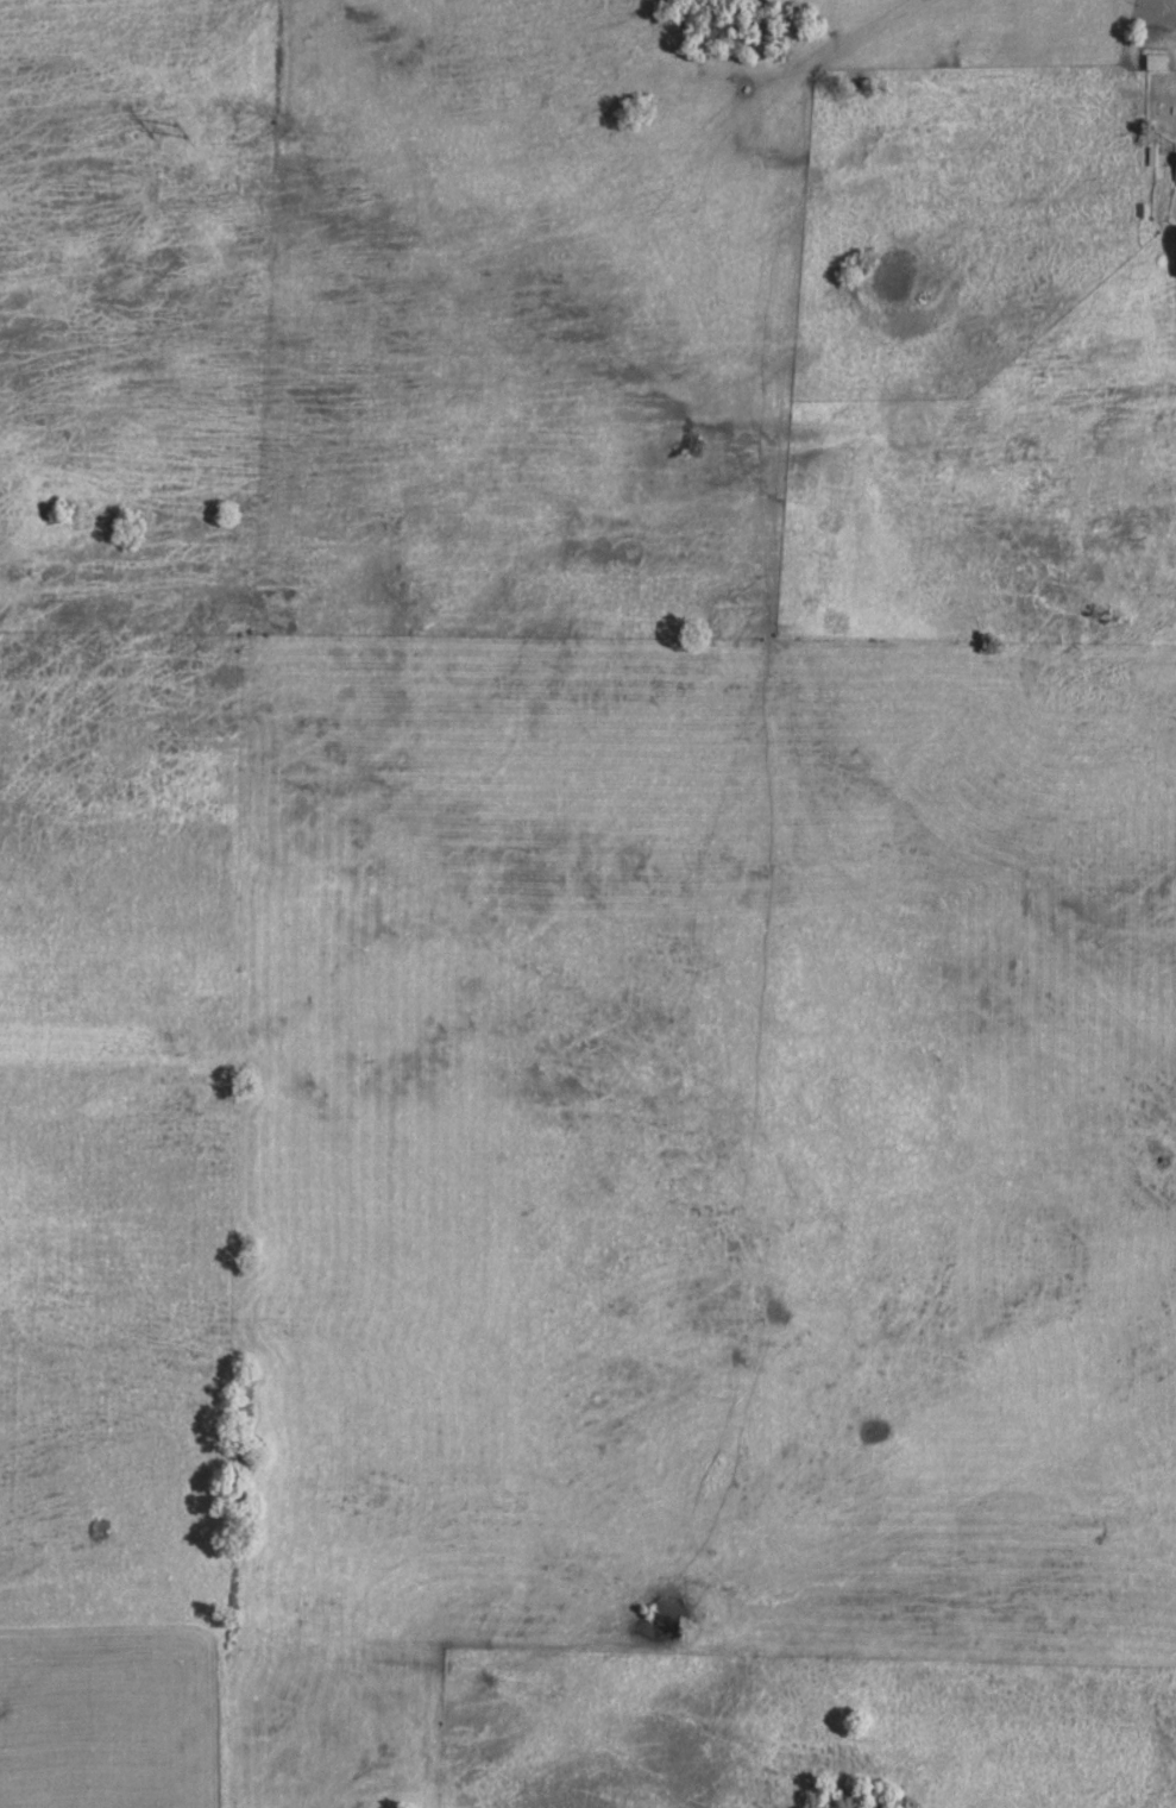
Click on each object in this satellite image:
building: (1153, 59)
power tower: (175, 131)
building: (1174, 164)

